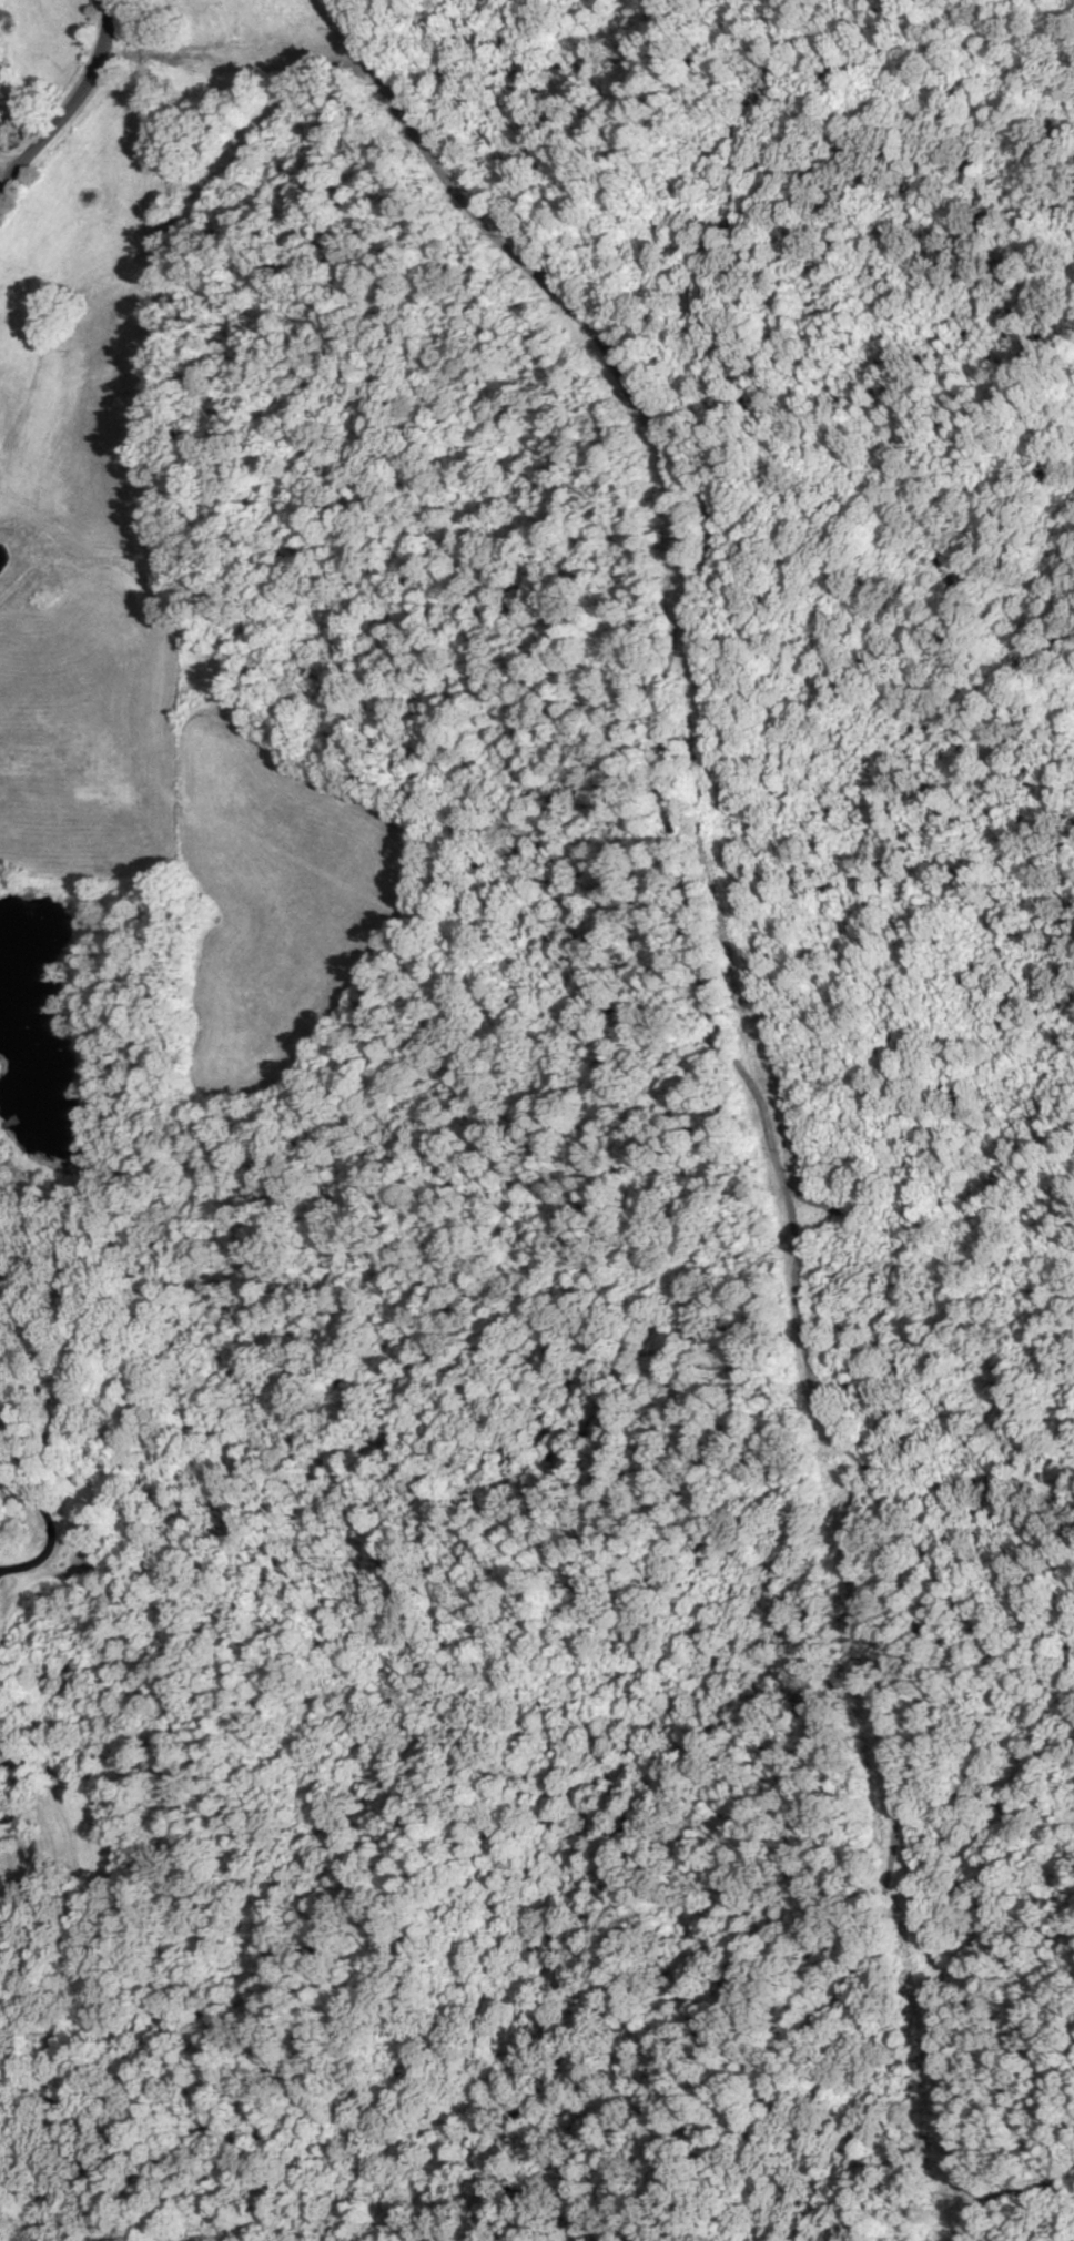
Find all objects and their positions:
road: (61, 78)
building: (4, 121)

